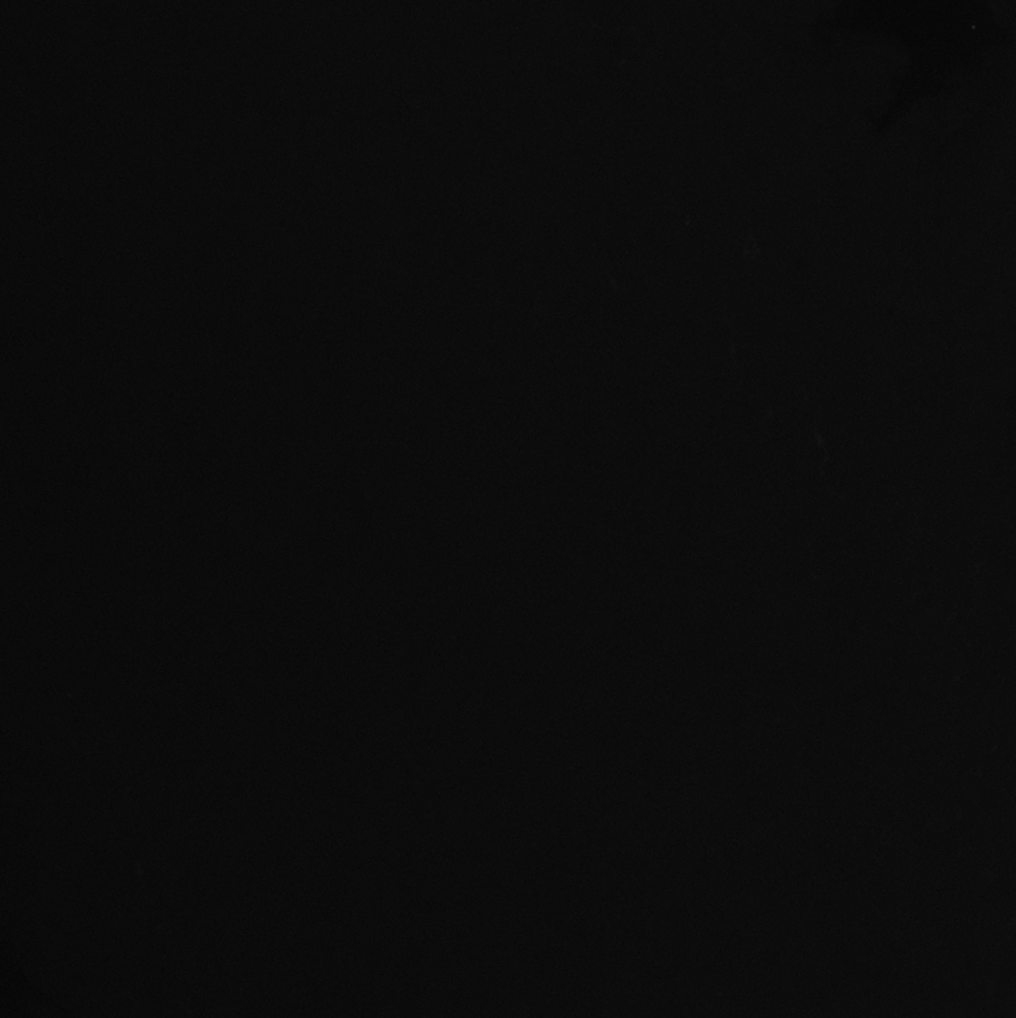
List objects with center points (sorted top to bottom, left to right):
river: (380, 500)

